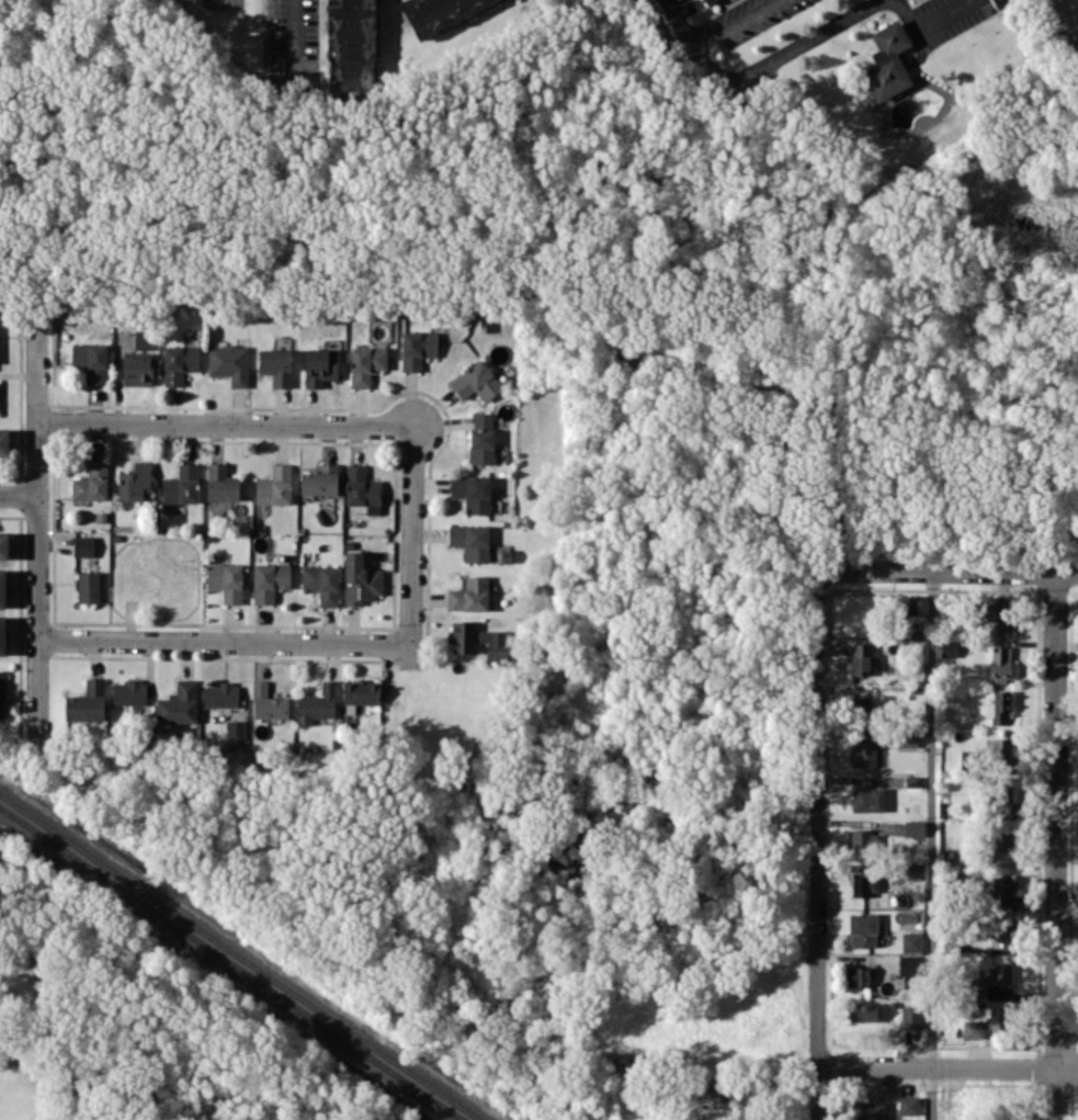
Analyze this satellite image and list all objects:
building: (706, 1)
building: (436, 12)
road: (676, 22)
road: (729, 22)
road: (826, 29)
road: (296, 37)
building: (351, 46)
building: (887, 61)
building: (144, 339)
building: (417, 349)
building: (91, 361)
building: (179, 362)
building: (229, 362)
building: (365, 364)
building: (276, 365)
building: (320, 366)
building: (137, 370)
building: (476, 382)
road: (225, 425)
building: (481, 438)
building: (4, 442)
building: (320, 479)
building: (91, 482)
building: (135, 482)
building: (181, 485)
building: (275, 485)
building: (219, 488)
building: (362, 488)
building: (473, 491)
road: (18, 494)
road: (36, 529)
road: (411, 535)
building: (470, 541)
building: (3, 545)
building: (83, 545)
road: (946, 569)
building: (361, 579)
building: (226, 580)
building: (270, 580)
building: (321, 582)
building: (88, 586)
building: (2, 589)
building: (469, 595)
building: (907, 603)
building: (990, 603)
building: (996, 622)
building: (2, 635)
building: (463, 636)
road: (223, 642)
building: (493, 643)
building: (947, 648)
building: (860, 658)
building: (999, 663)
building: (361, 691)
building: (129, 692)
building: (2, 694)
building: (222, 694)
building: (87, 702)
building: (268, 702)
building: (179, 703)
building: (317, 704)
building: (999, 706)
building: (235, 728)
building: (907, 739)
building: (999, 751)
building: (866, 753)
building: (965, 759)
building: (997, 792)
building: (865, 797)
building: (862, 839)
building: (1001, 841)
road: (815, 844)
road: (931, 844)
road: (1055, 846)
building: (910, 872)
building: (864, 883)
building: (1001, 891)
road: (1066, 919)
building: (862, 929)
building: (1000, 930)
building: (911, 941)
building: (950, 944)
railway: (239, 958)
railway: (229, 963)
building: (909, 965)
building: (858, 975)
building: (986, 981)
road: (1067, 988)
building: (864, 1011)
building: (910, 1016)
building: (999, 1018)
building: (973, 1029)
road: (946, 1066)
building: (908, 1105)
building: (866, 1110)

